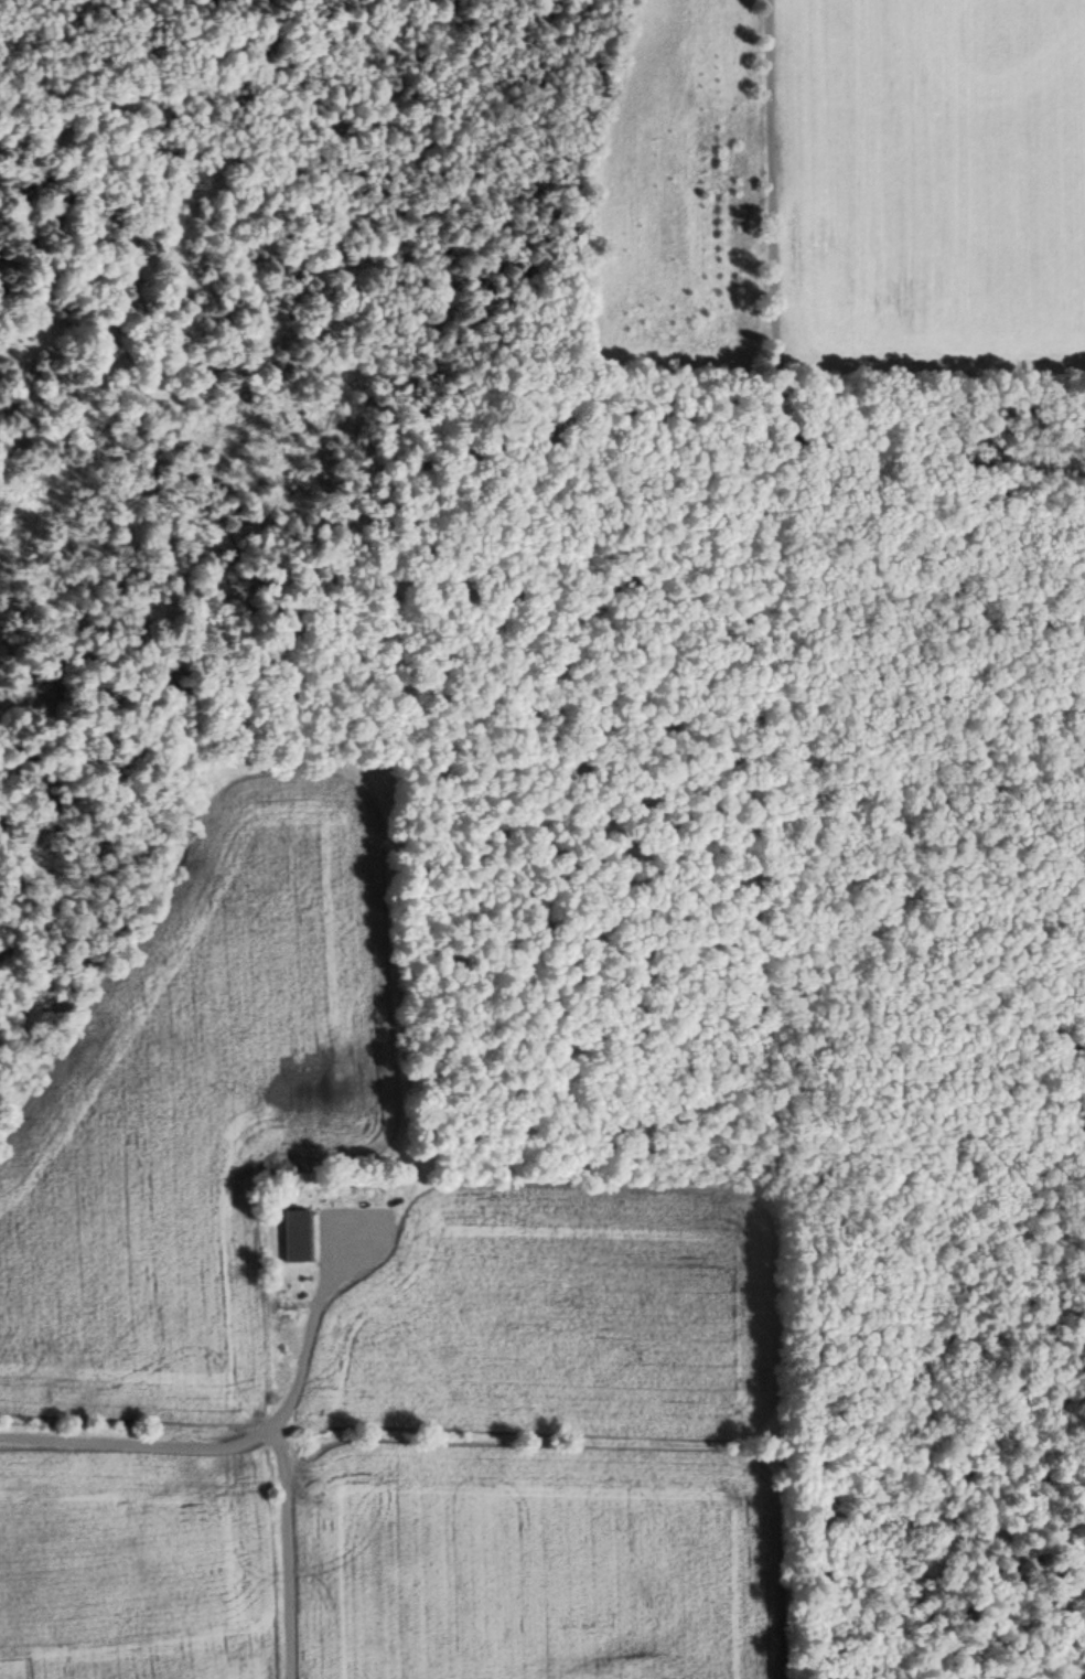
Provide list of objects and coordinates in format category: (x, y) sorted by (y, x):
building: (296, 1237)

